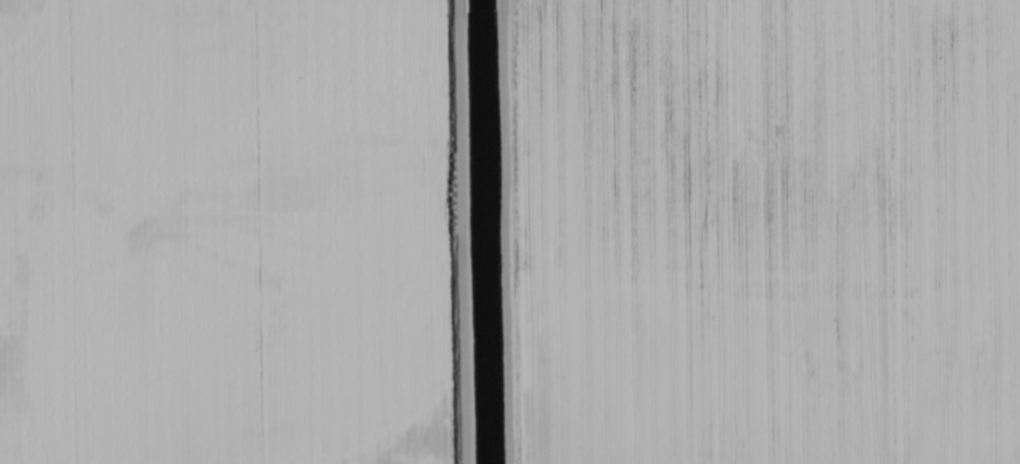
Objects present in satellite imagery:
crop: (510, 232)

